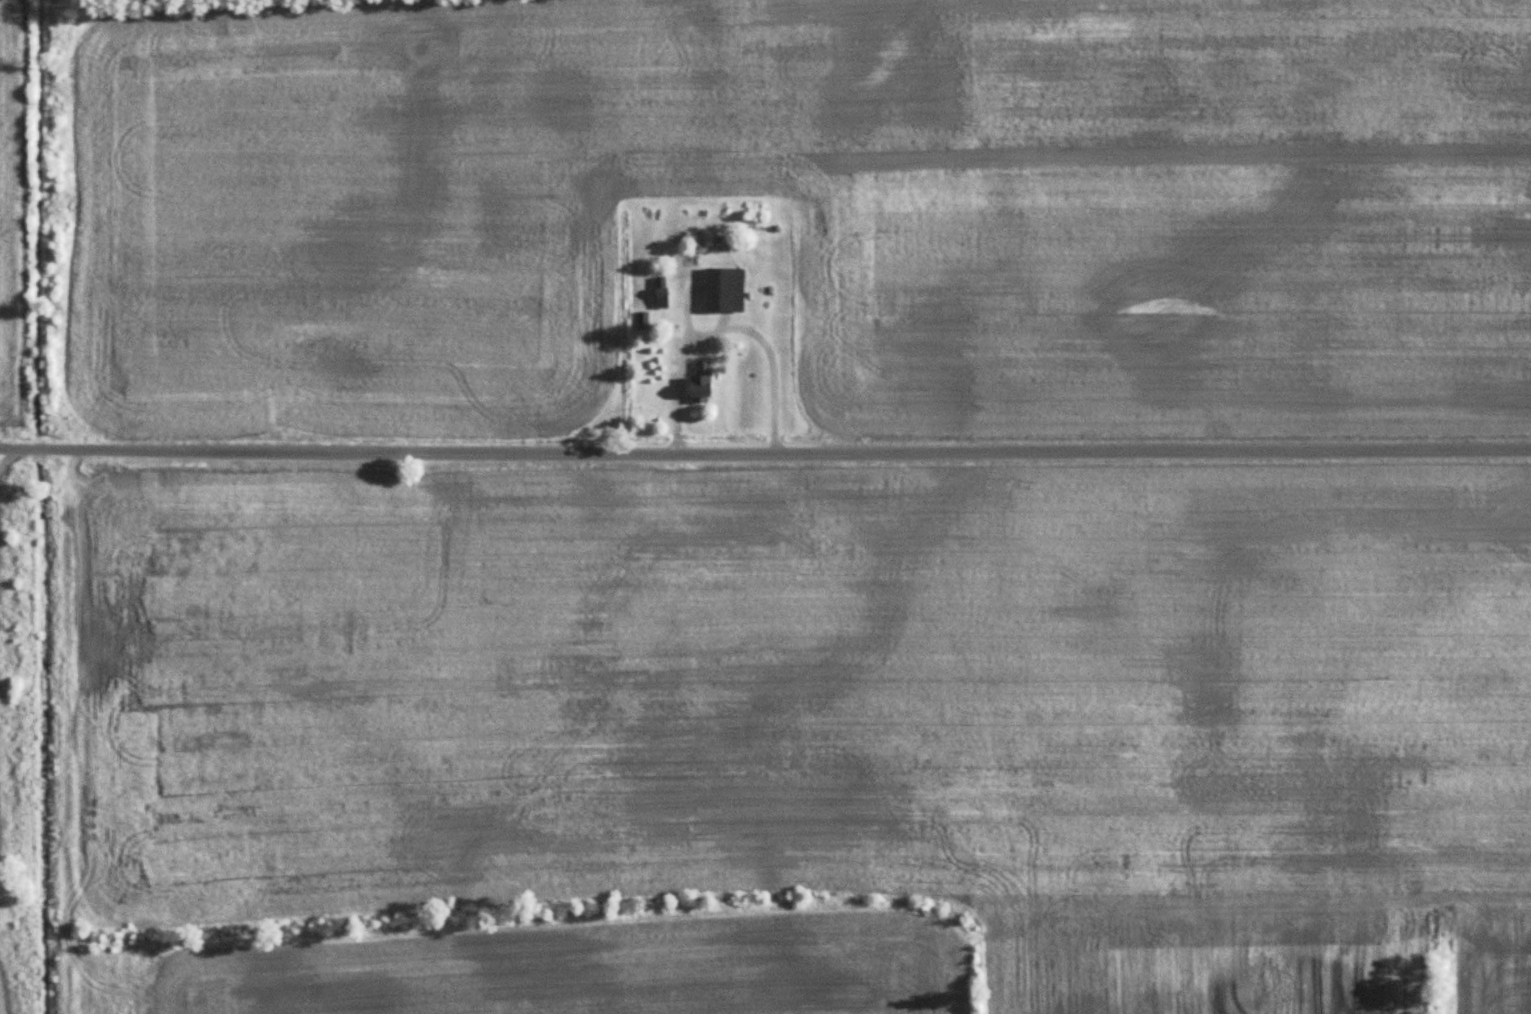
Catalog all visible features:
building: (725, 290)
road: (727, 329)
building: (701, 380)
road: (765, 448)

